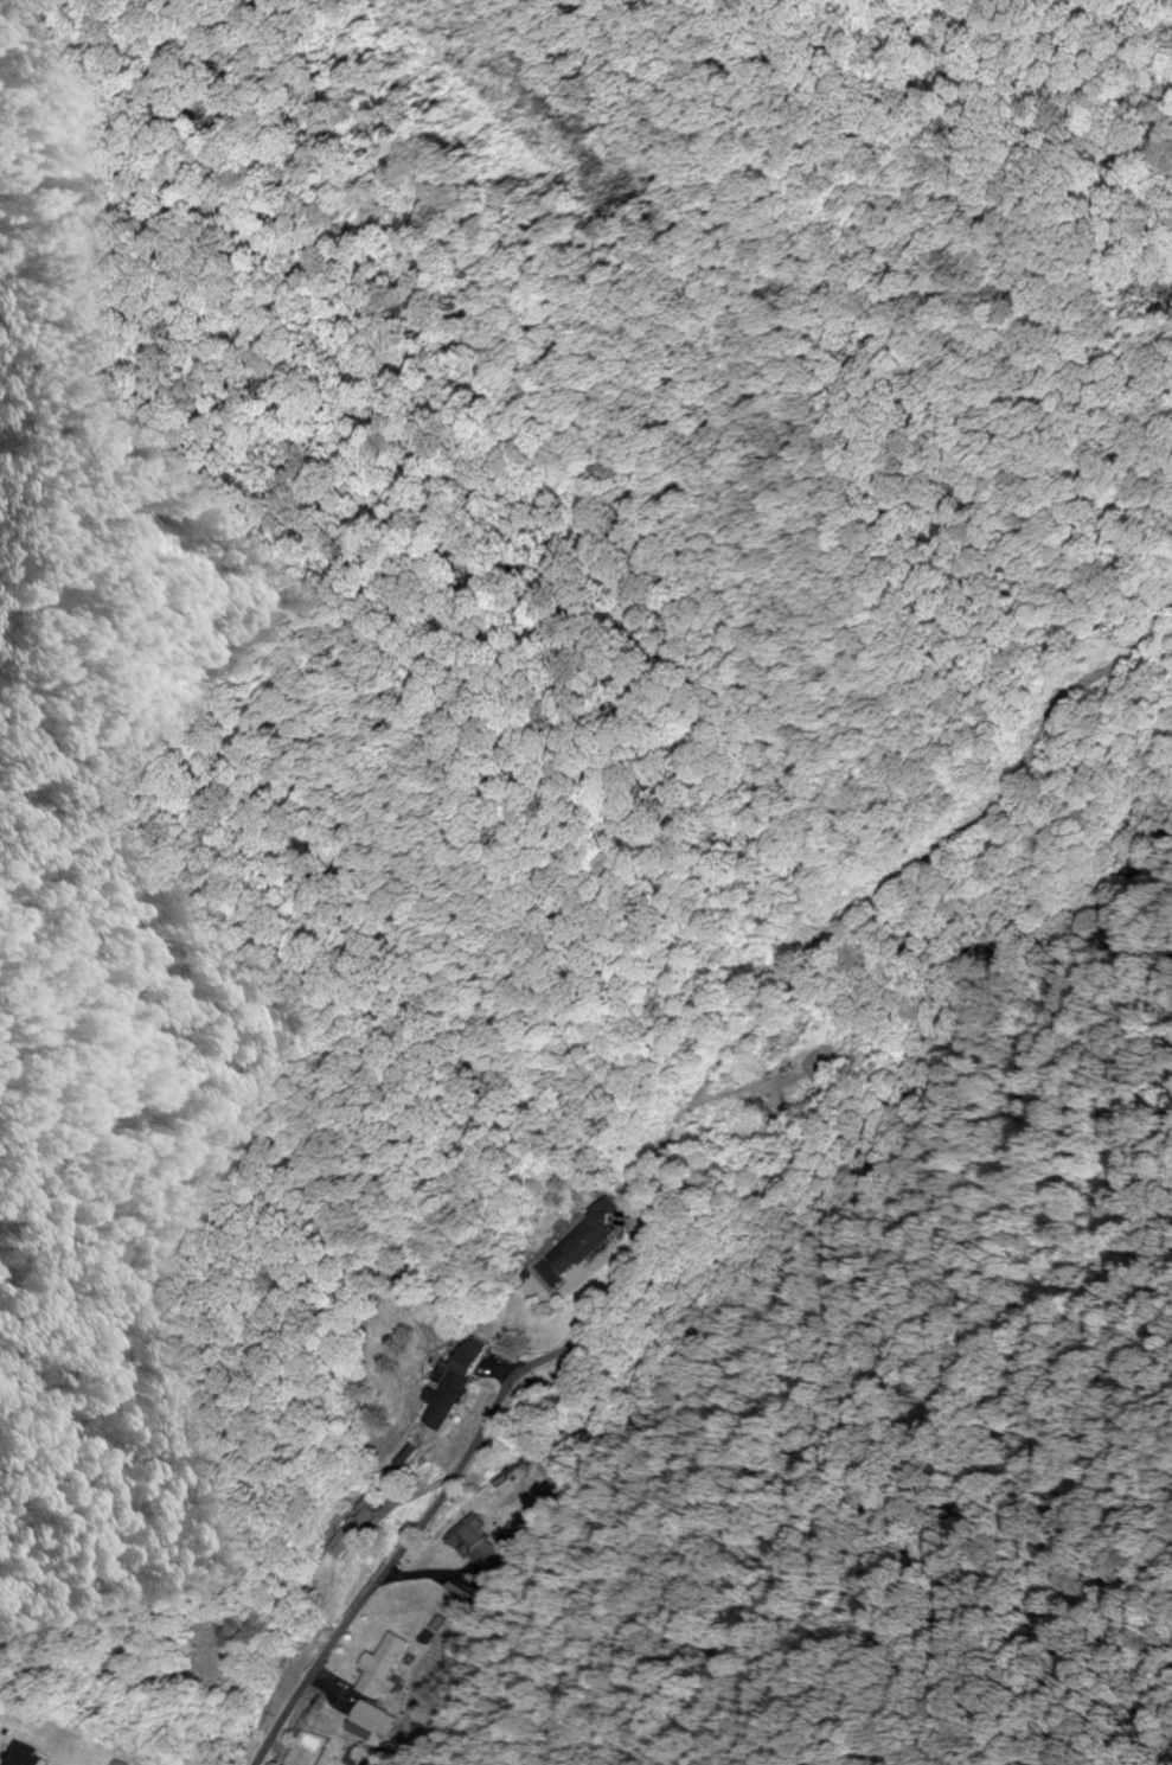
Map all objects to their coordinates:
building: (591, 1241)
building: (462, 1388)
road: (460, 1462)
building: (474, 1539)
building: (390, 1668)
building: (377, 1720)
building: (27, 1757)

